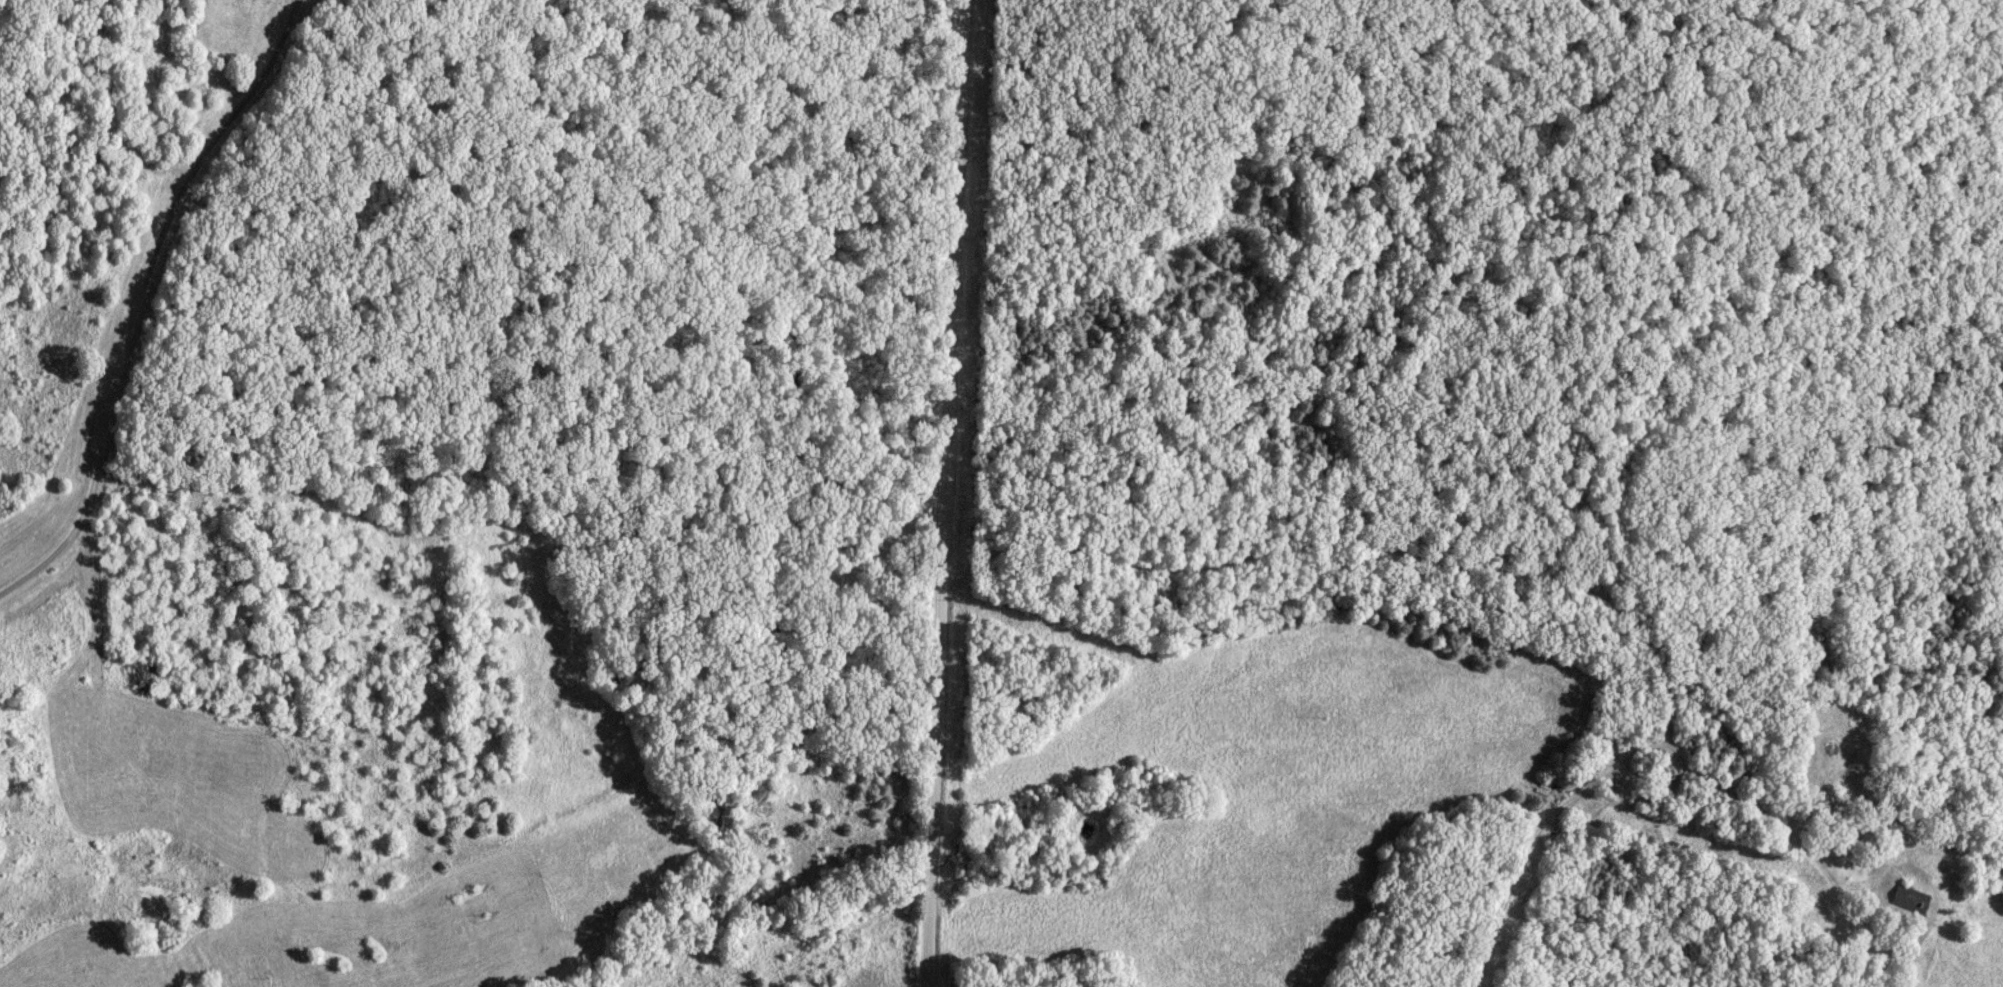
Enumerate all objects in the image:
road: (140, 298)
road: (945, 493)
road: (1526, 576)
building: (1821, 809)
building: (1911, 899)

